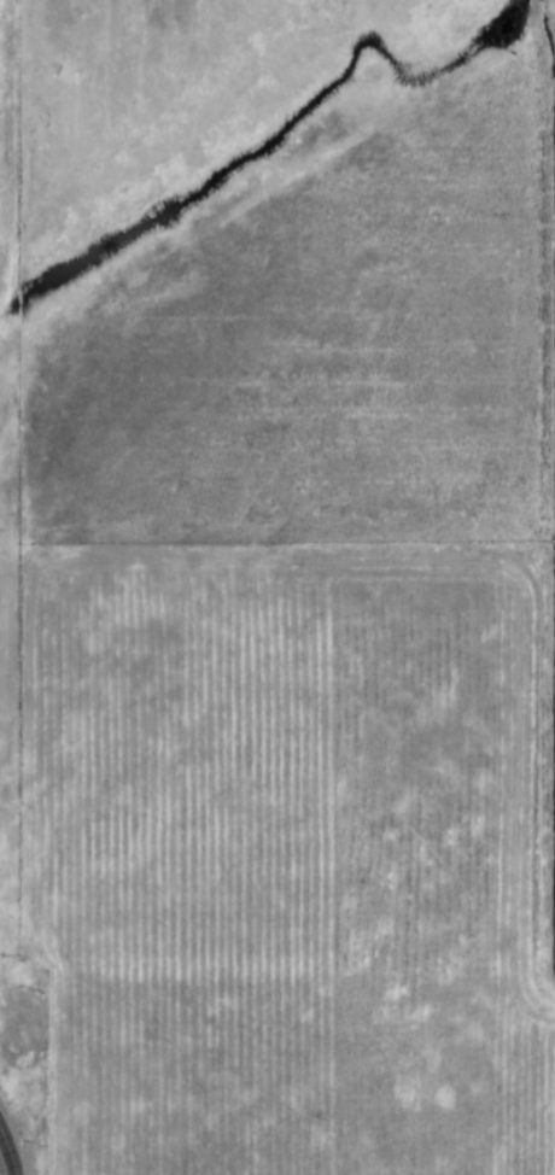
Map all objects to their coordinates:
crop: (8, 110)
crop: (333, 353)
crop: (300, 853)
road: (0, 989)
road: (10, 1150)

